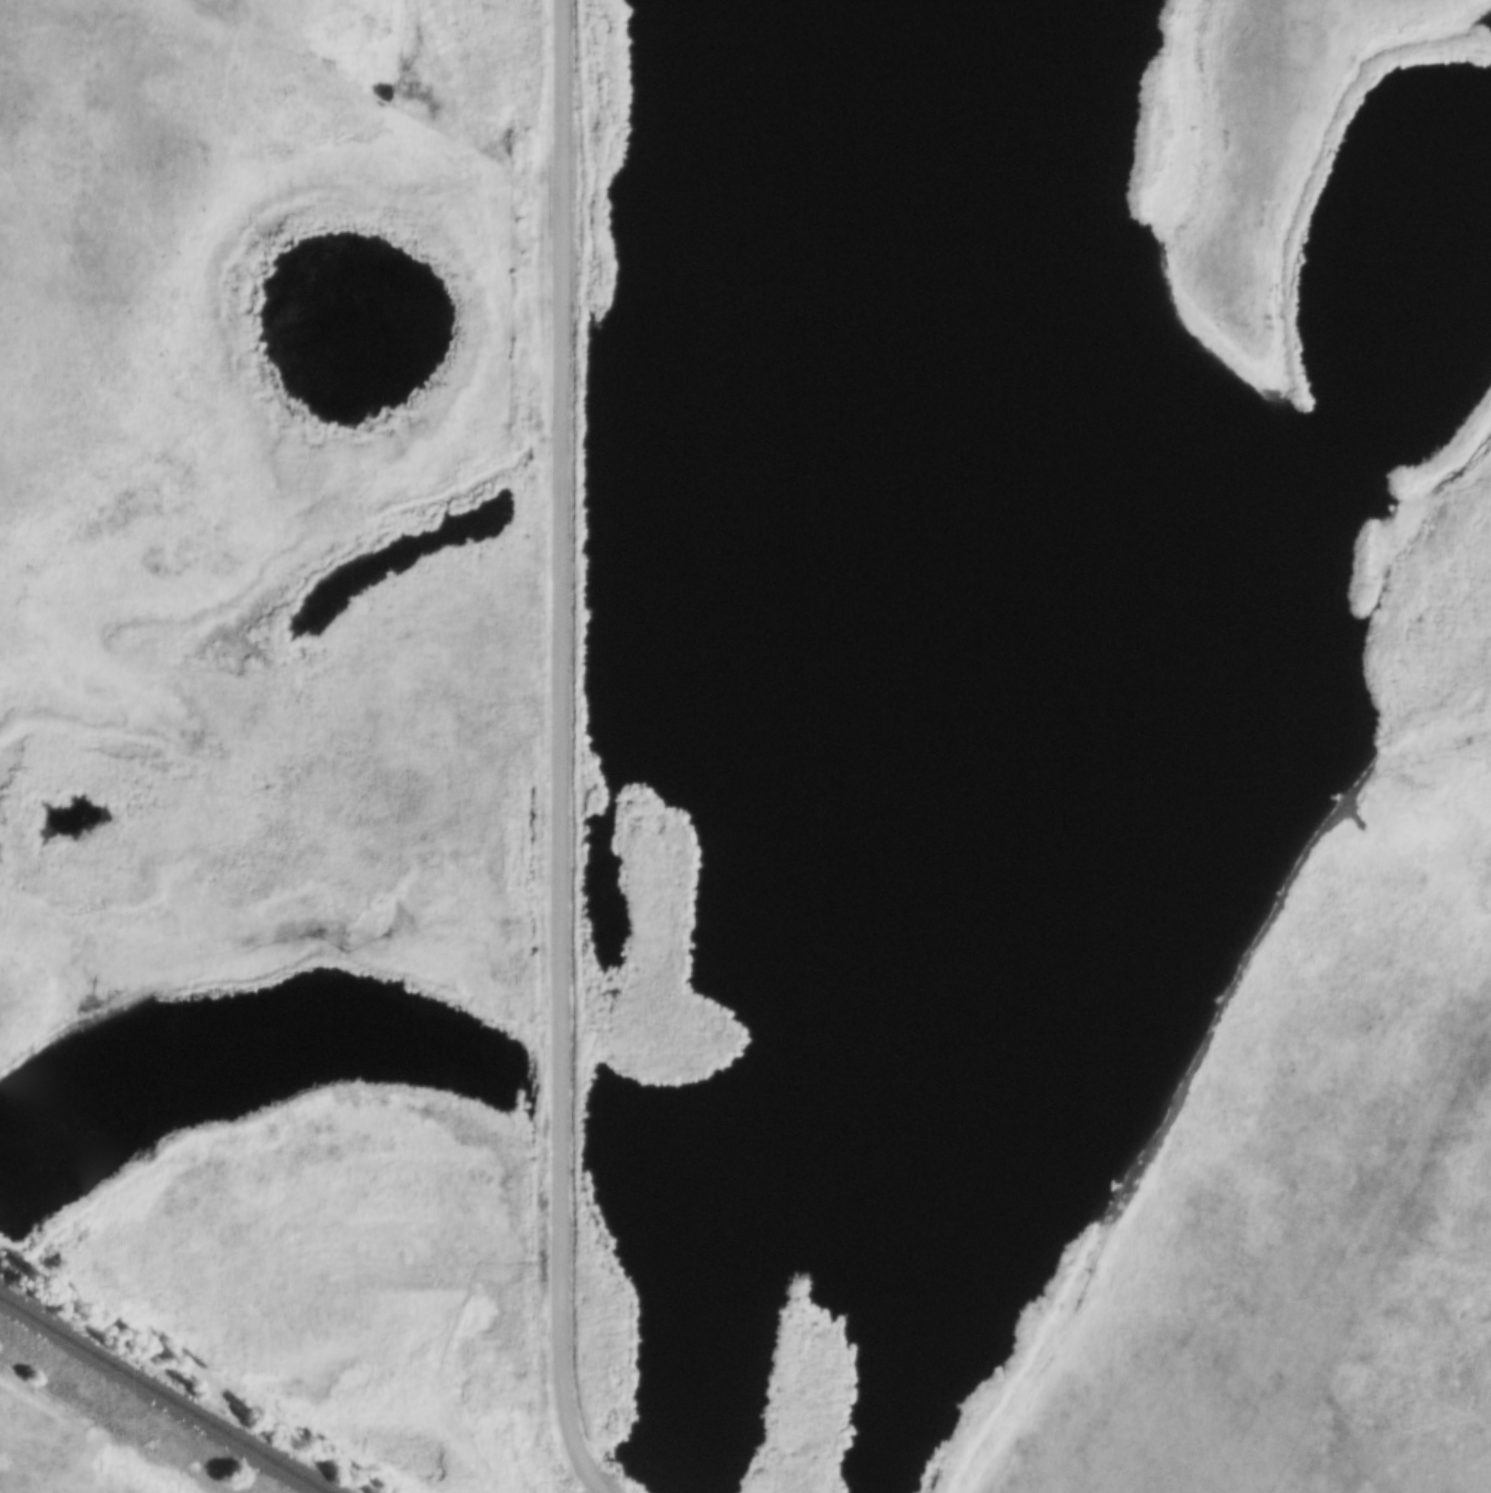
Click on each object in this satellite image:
road: (563, 753)
railway: (150, 1401)

